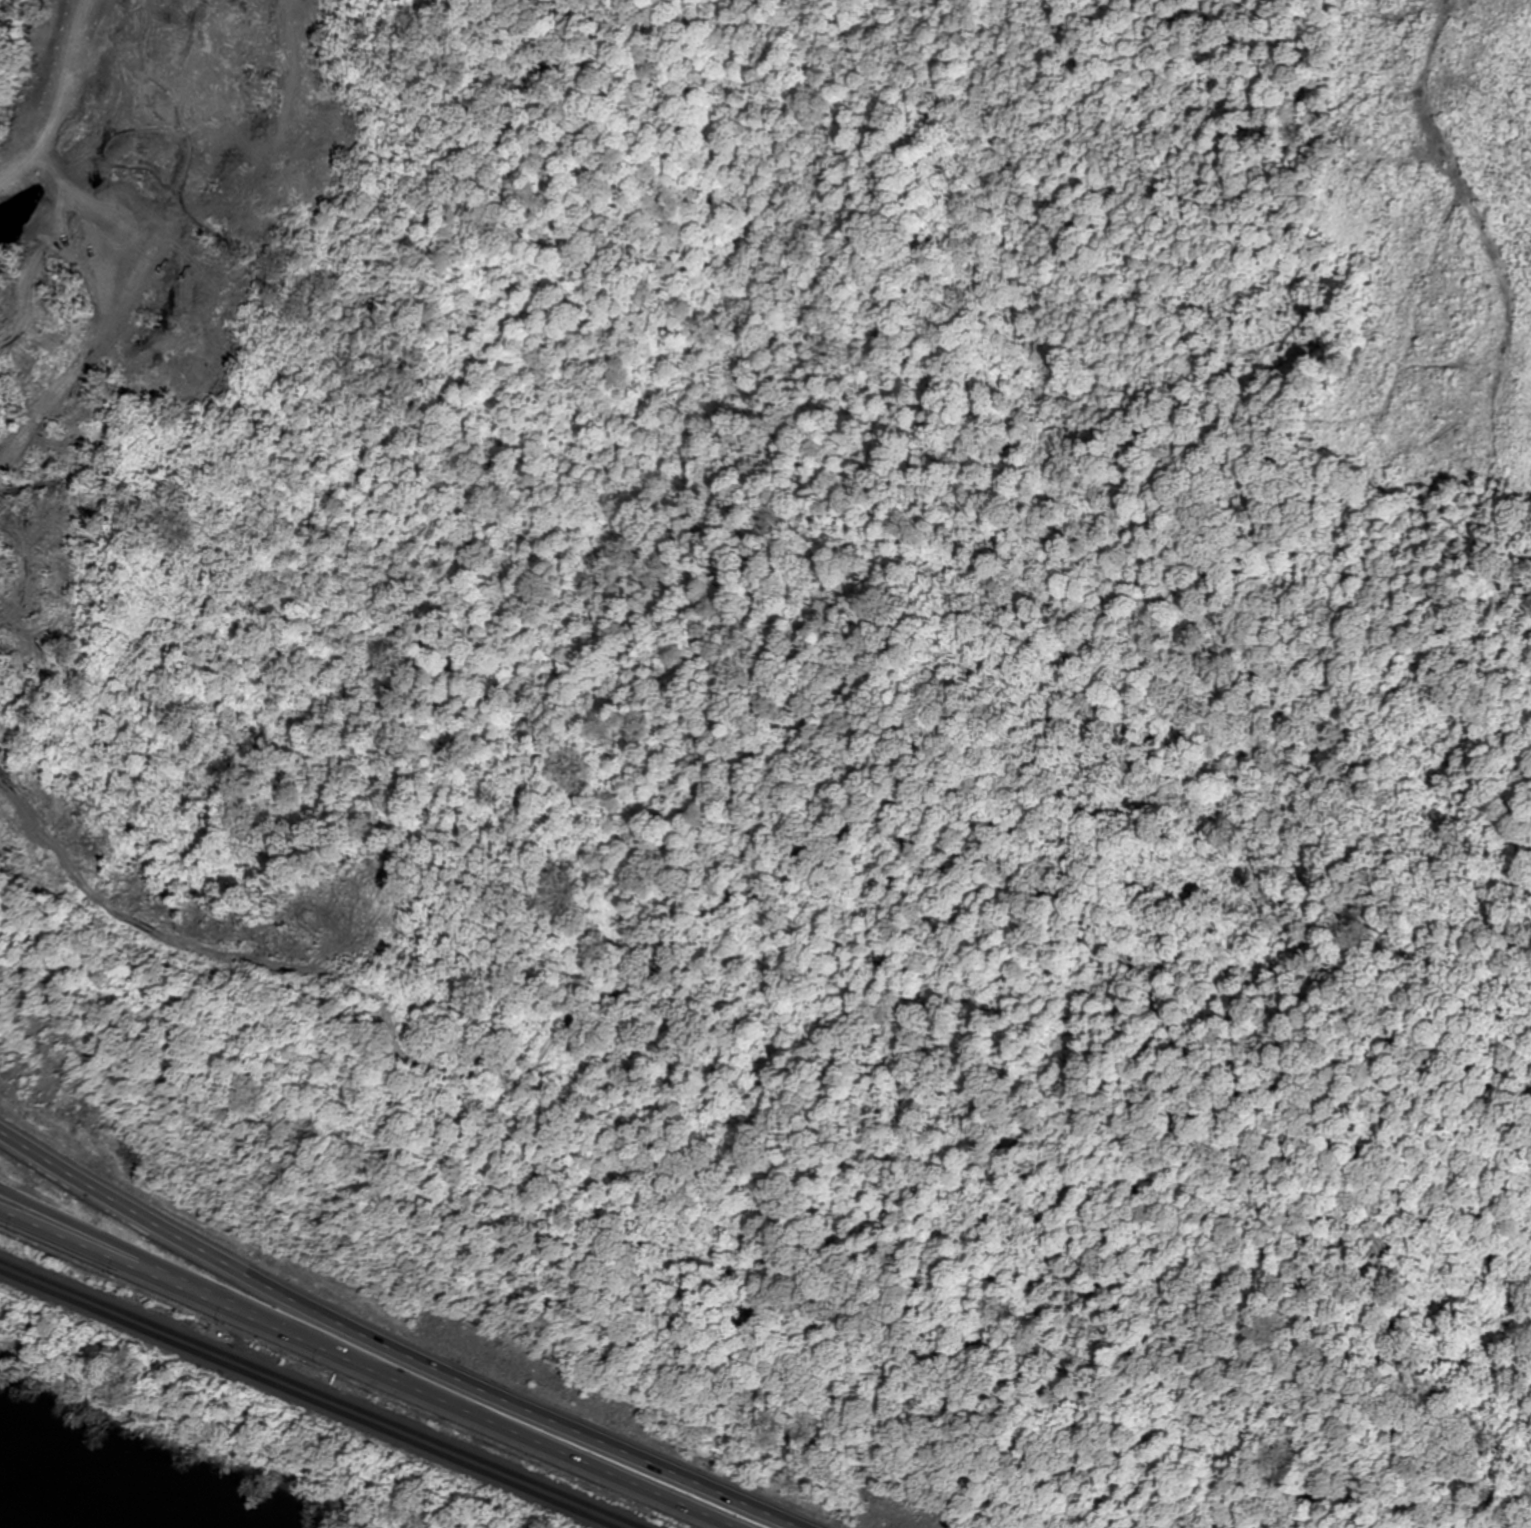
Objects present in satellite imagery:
road: (108, 1241)
road: (105, 1256)
road: (397, 1346)
railway: (330, 1389)
railway: (311, 1396)
road: (470, 1414)

